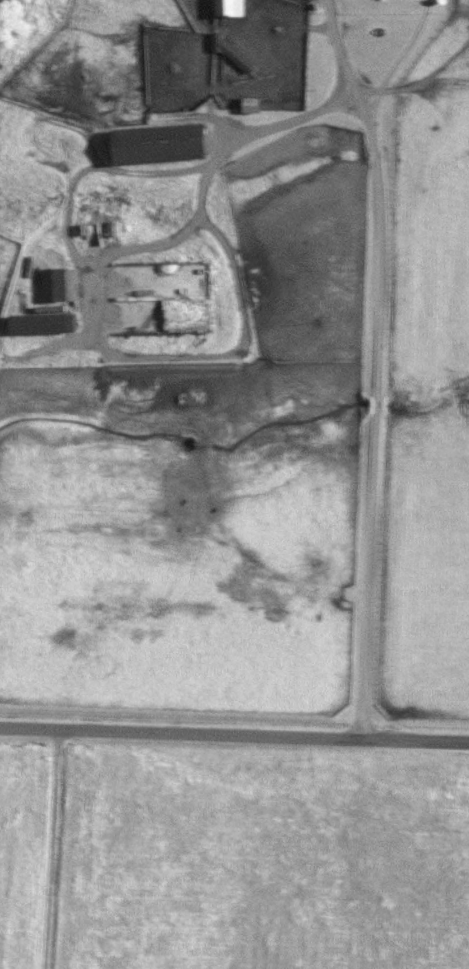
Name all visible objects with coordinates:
building: (225, 8)
road: (390, 65)
building: (247, 105)
building: (155, 144)
road: (213, 162)
building: (87, 235)
building: (51, 286)
building: (39, 324)
road: (372, 365)
road: (234, 735)
road: (46, 848)

